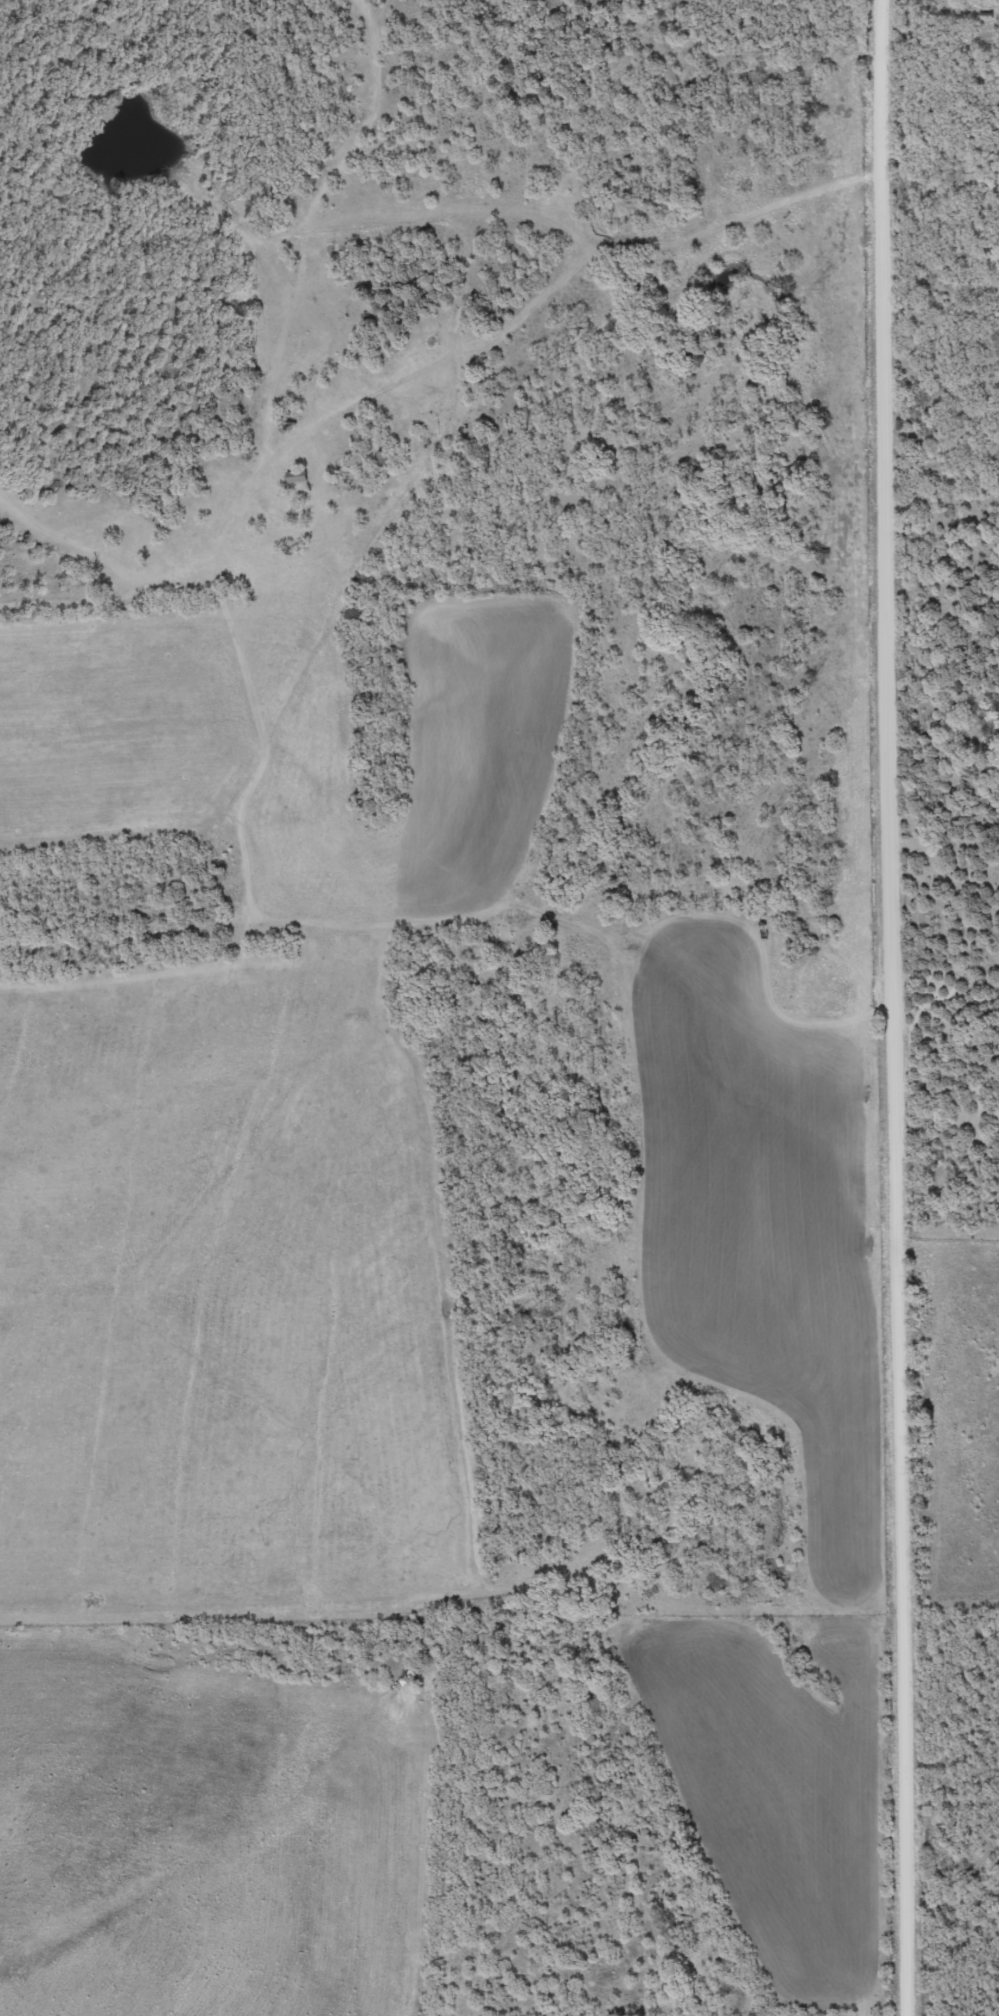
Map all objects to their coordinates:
road: (897, 1007)

